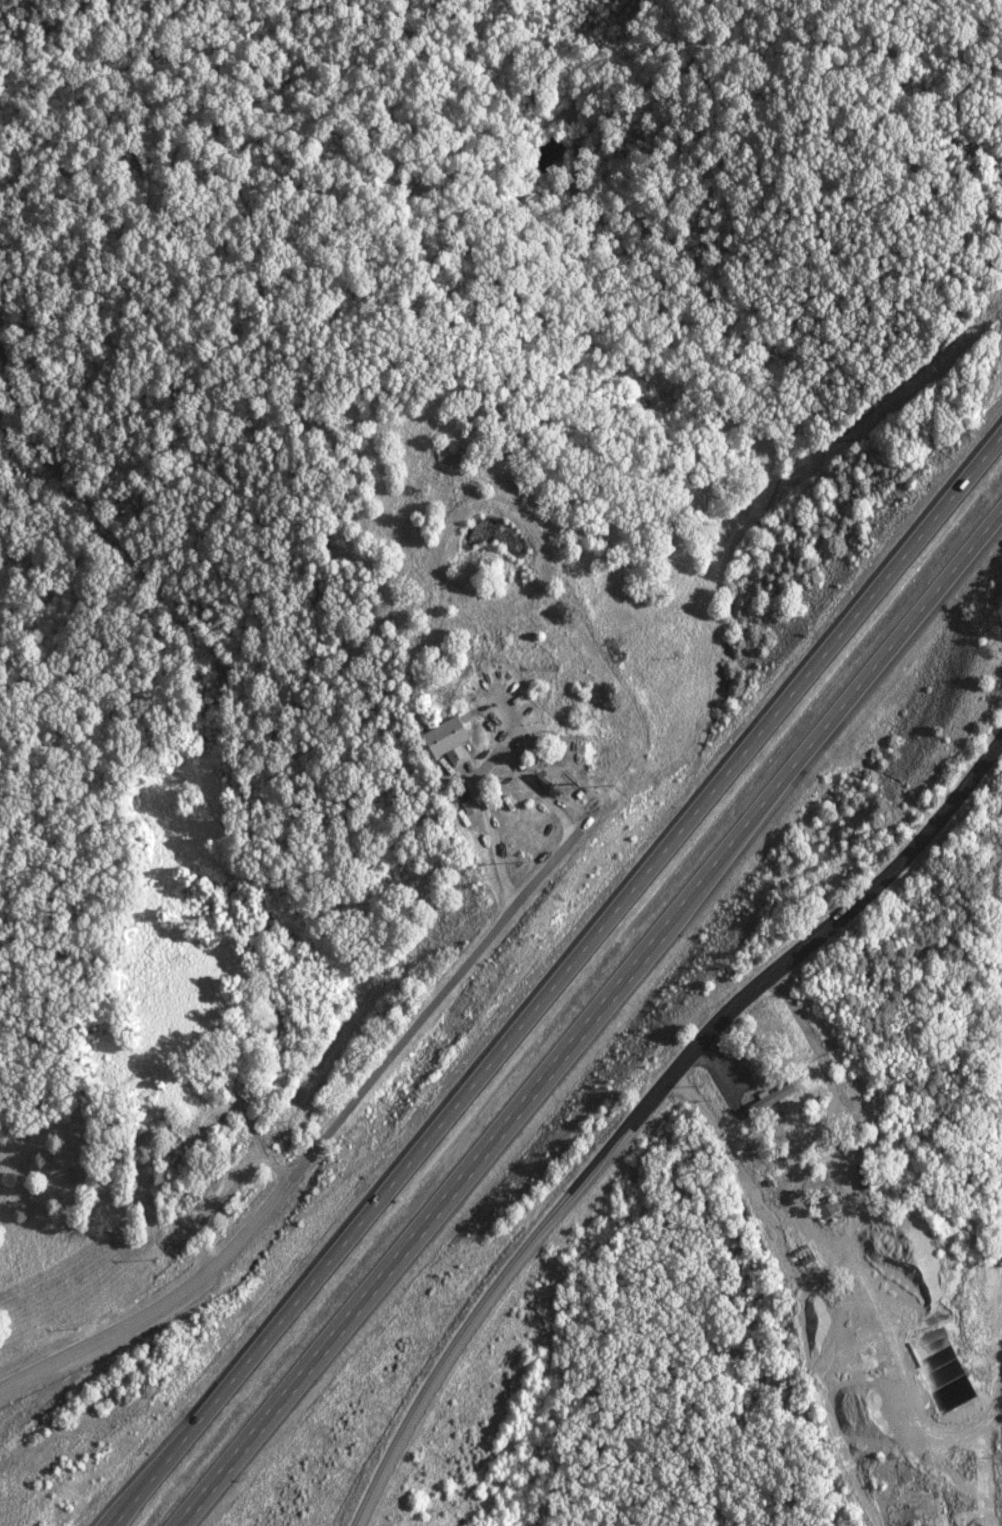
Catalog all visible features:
building: (442, 741)
building: (467, 805)
road: (559, 982)
road: (587, 1016)
building: (767, 1096)
road: (643, 1109)
road: (325, 1138)
building: (819, 1202)

